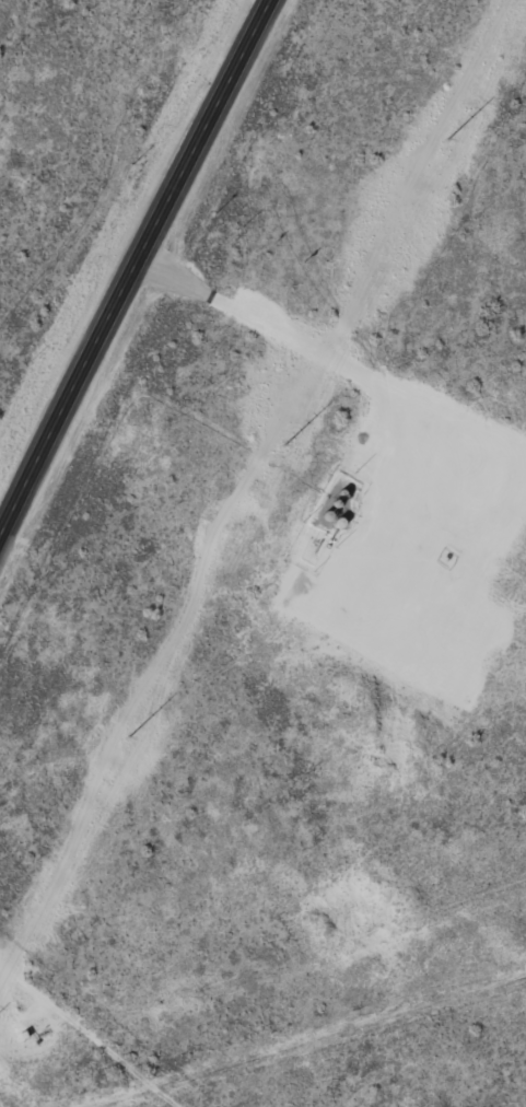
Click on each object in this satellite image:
power tower: (445, 144)
road: (130, 269)
power tower: (281, 451)
power tower: (125, 745)
road: (95, 1032)

